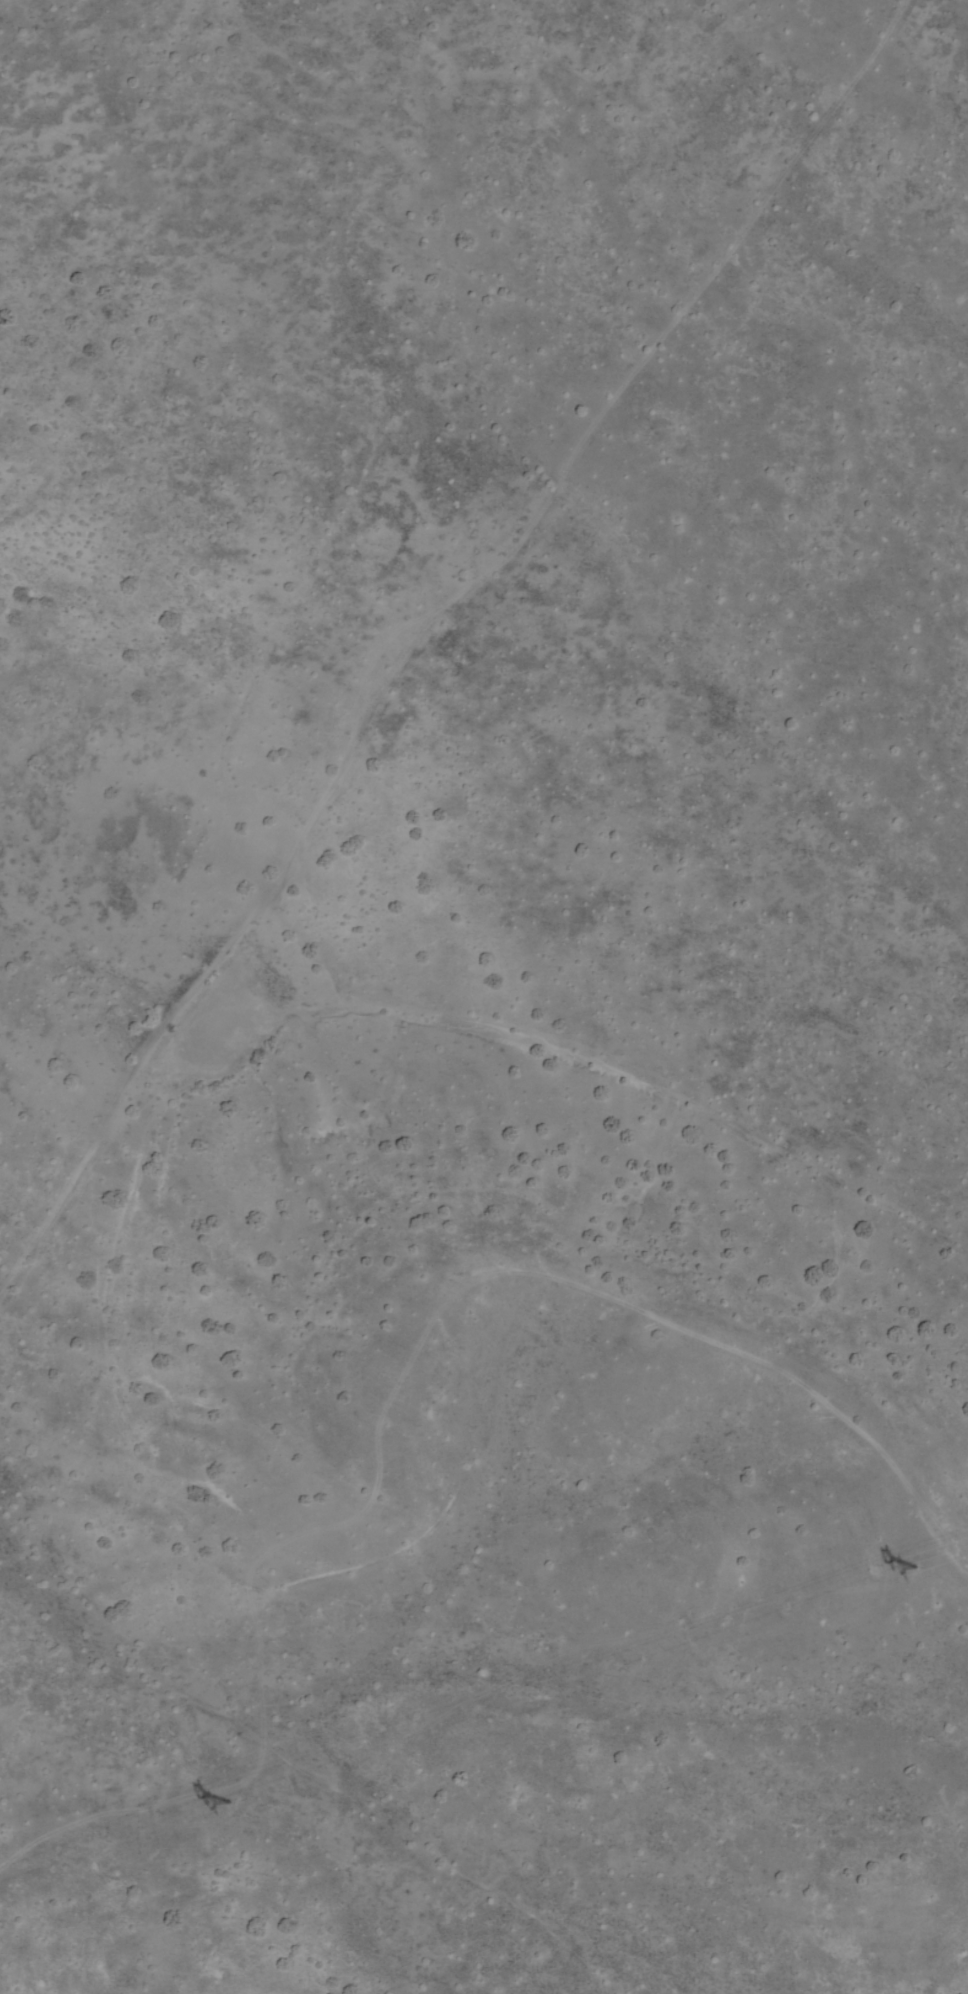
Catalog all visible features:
road: (37, 1150)
power tower: (918, 1566)
power tower: (230, 1800)

